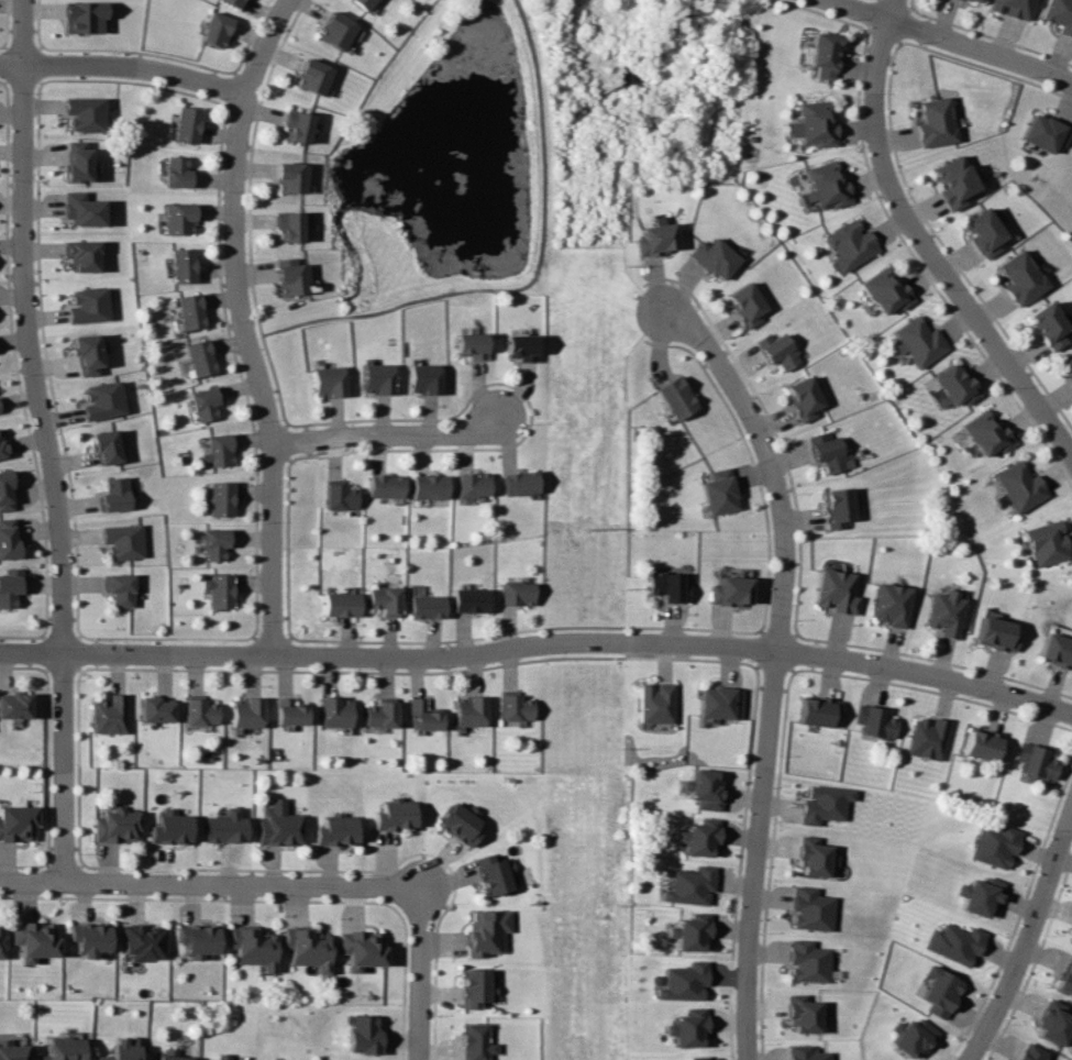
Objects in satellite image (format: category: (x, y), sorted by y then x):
building: (975, 0)
building: (232, 2)
building: (361, 3)
building: (1013, 8)
building: (1059, 14)
building: (82, 16)
building: (214, 29)
building: (334, 30)
road: (948, 43)
building: (821, 54)
road: (122, 67)
building: (311, 76)
building: (84, 113)
building: (936, 122)
building: (814, 123)
building: (185, 124)
building: (295, 124)
building: (1047, 132)
road: (22, 135)
building: (77, 162)
building: (176, 172)
building: (288, 177)
building: (957, 181)
building: (826, 186)
building: (80, 209)
building: (176, 218)
building: (287, 224)
building: (985, 231)
building: (655, 239)
road: (930, 240)
building: (850, 244)
building: (80, 254)
building: (715, 257)
building: (179, 265)
building: (290, 276)
building: (1021, 277)
road: (528, 284)
building: (886, 290)
building: (86, 303)
building: (745, 303)
building: (188, 310)
road: (243, 324)
building: (1049, 325)
building: (918, 341)
building: (469, 344)
building: (519, 346)
building: (777, 351)
building: (85, 354)
building: (198, 357)
building: (1068, 362)
building: (375, 378)
building: (421, 378)
building: (1071, 380)
building: (327, 382)
building: (954, 385)
building: (676, 397)
building: (804, 398)
building: (101, 400)
building: (203, 402)
building: (986, 433)
road: (389, 438)
building: (104, 445)
building: (2, 446)
building: (218, 450)
building: (828, 451)
building: (518, 482)
building: (473, 484)
building: (386, 485)
building: (429, 486)
building: (1018, 486)
building: (5, 490)
building: (719, 492)
building: (114, 494)
building: (340, 495)
building: (221, 498)
building: (837, 506)
building: (9, 538)
building: (123, 541)
building: (1046, 542)
building: (215, 543)
road: (64, 577)
building: (11, 586)
building: (667, 586)
building: (121, 588)
building: (219, 589)
building: (730, 590)
building: (836, 590)
building: (517, 593)
building: (386, 599)
building: (472, 599)
building: (342, 604)
building: (891, 604)
building: (428, 606)
building: (944, 612)
building: (995, 633)
building: (1056, 650)
road: (538, 655)
road: (781, 664)
building: (654, 702)
building: (719, 702)
building: (14, 705)
building: (515, 706)
building: (155, 709)
building: (199, 710)
building: (469, 710)
building: (819, 710)
building: (245, 711)
building: (289, 711)
building: (335, 711)
building: (382, 713)
building: (109, 714)
building: (424, 715)
building: (875, 721)
building: (929, 737)
building: (983, 743)
building: (1037, 761)
building: (701, 790)
building: (825, 804)
building: (395, 816)
building: (16, 822)
building: (460, 824)
building: (117, 825)
building: (170, 827)
building: (225, 827)
building: (335, 829)
building: (697, 838)
building: (996, 844)
building: (814, 855)
building: (496, 874)
building: (688, 885)
road: (208, 887)
building: (981, 896)
building: (810, 908)
building: (688, 932)
building: (89, 938)
building: (1, 939)
building: (33, 939)
building: (197, 939)
building: (143, 941)
building: (955, 942)
road: (1027, 942)
building: (252, 947)
building: (307, 947)
building: (361, 948)
building: (807, 961)
building: (1067, 976)
road: (426, 981)
building: (681, 982)
building: (477, 987)
building: (940, 991)
building: (802, 1013)
building: (1053, 1023)
building: (686, 1028)
building: (362, 1035)
building: (911, 1036)
building: (476, 1041)
building: (63, 1048)
building: (122, 1049)
building: (12, 1050)
building: (805, 1052)
building: (1030, 1052)
building: (170, 1055)
building: (220, 1057)
building: (696, 1058)

